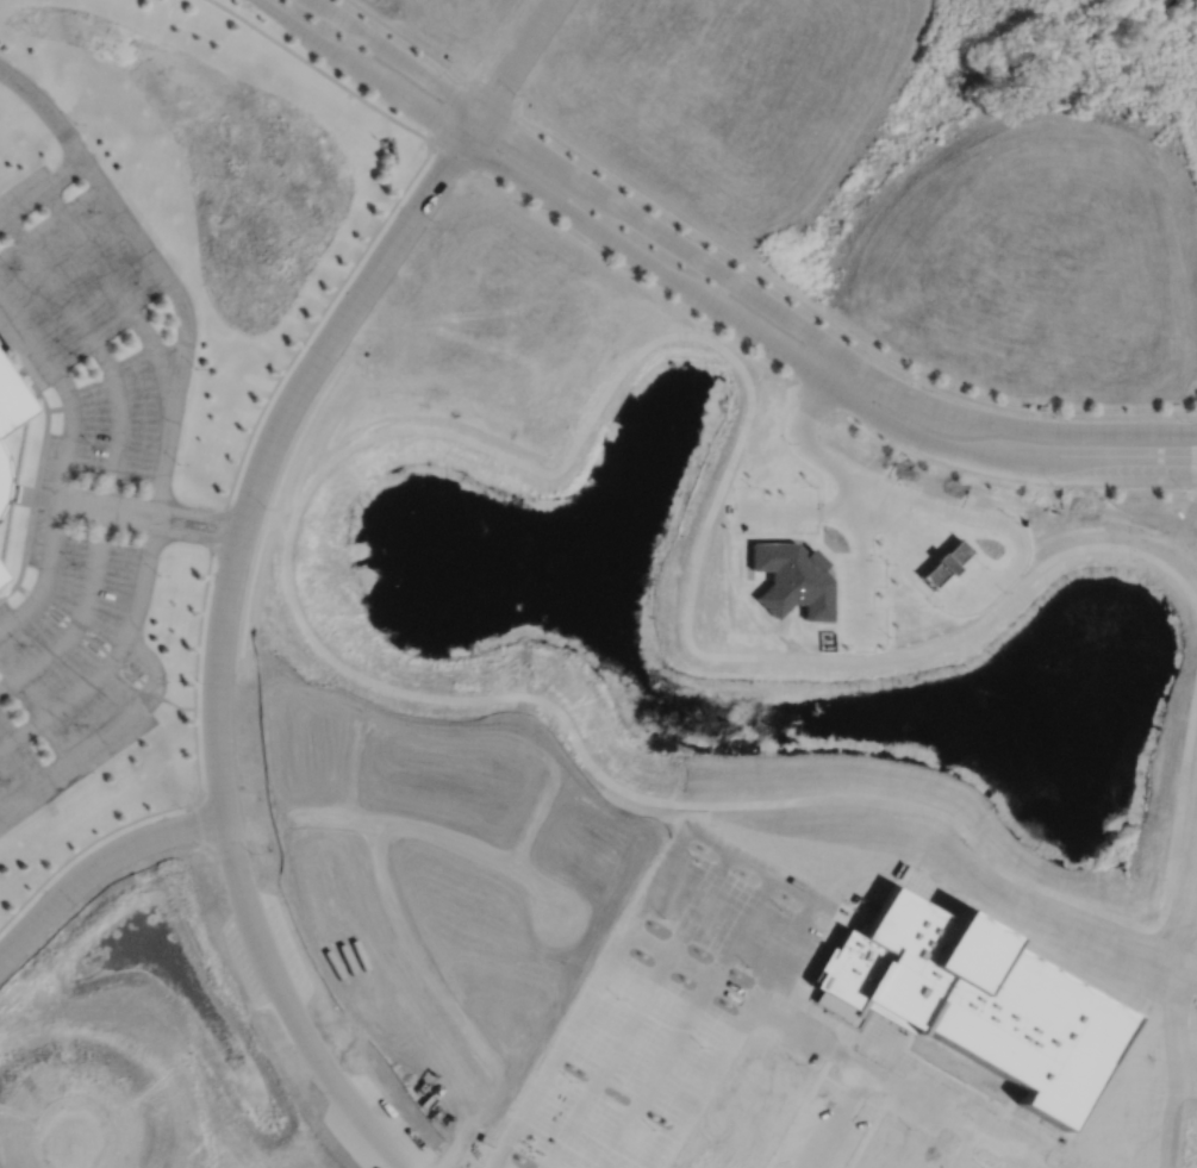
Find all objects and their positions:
road: (411, 40)
road: (399, 56)
road: (520, 56)
road: (362, 69)
road: (323, 71)
road: (495, 94)
road: (449, 112)
road: (497, 142)
road: (453, 158)
road: (42, 189)
gas station: (1109, 217)
road: (91, 250)
parking lot: (67, 270)
road: (162, 271)
road: (316, 325)
road: (834, 325)
road: (30, 332)
road: (817, 336)
road: (98, 345)
road: (160, 354)
road: (26, 368)
road: (806, 370)
road: (811, 398)
building: (11, 400)
road: (61, 407)
parking lot: (117, 424)
road: (73, 430)
road: (275, 439)
road: (43, 454)
building: (1, 479)
road: (20, 493)
road: (62, 501)
road: (154, 505)
road: (108, 508)
road: (150, 525)
road: (219, 529)
road: (29, 541)
road: (49, 567)
building: (1, 580)
road: (144, 585)
road: (8, 592)
road: (79, 622)
road: (11, 623)
road: (201, 623)
road: (102, 650)
parking lot: (67, 666)
road: (156, 667)
road: (68, 700)
road: (197, 755)
road: (73, 756)
road: (200, 831)
road: (86, 845)
road: (98, 864)
road: (769, 972)
road: (587, 997)
road: (291, 1007)
building: (984, 1008)
road: (635, 1010)
road: (685, 1022)
road: (834, 1048)
road: (830, 1116)
road: (960, 1148)
road: (71, 1151)
road: (1010, 1160)
road: (497, 1164)

